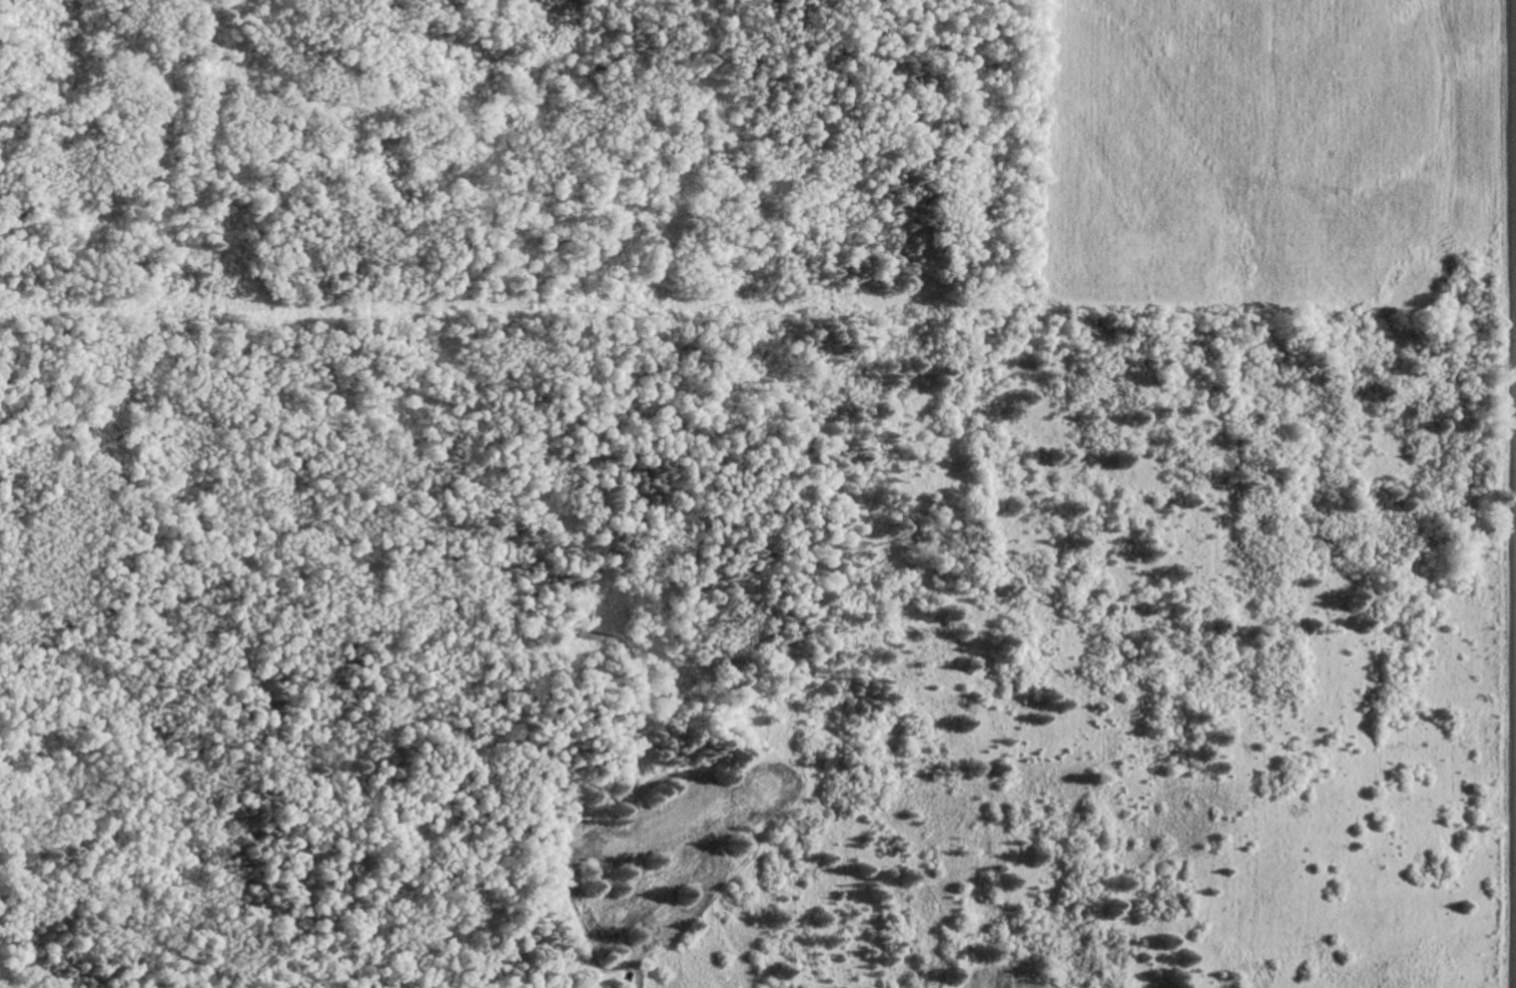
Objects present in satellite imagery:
crop: (1276, 153)
road: (1515, 301)
road: (1515, 494)

